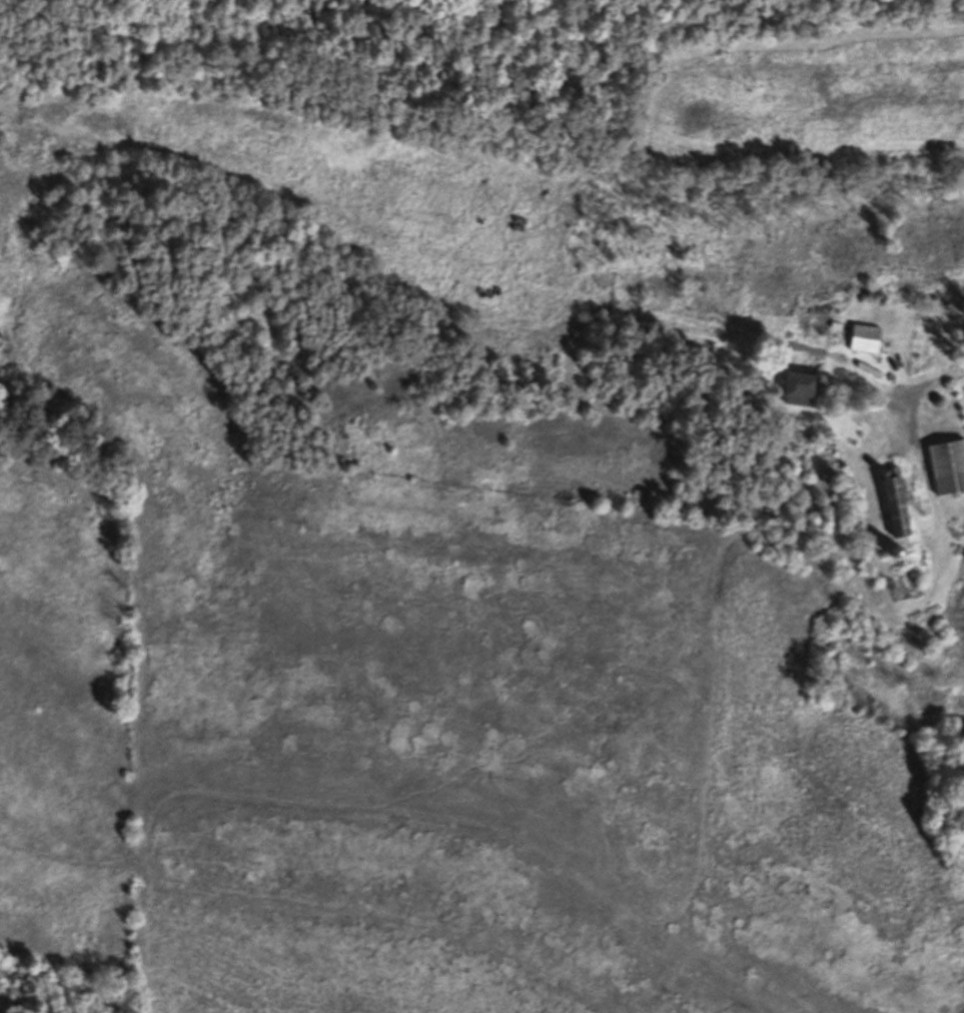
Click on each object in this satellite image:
building: (867, 339)
road: (937, 382)
building: (801, 385)
building: (949, 467)
building: (899, 503)

